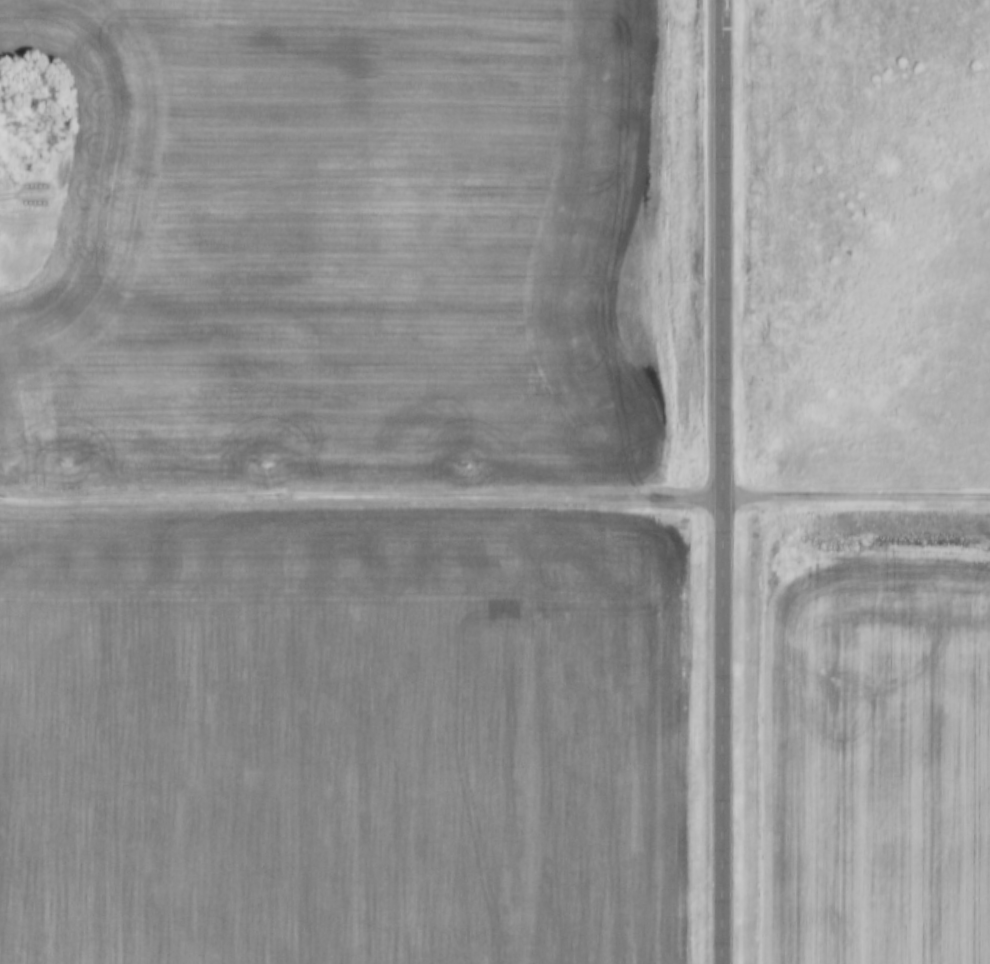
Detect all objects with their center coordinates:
road: (732, 481)
road: (494, 499)

